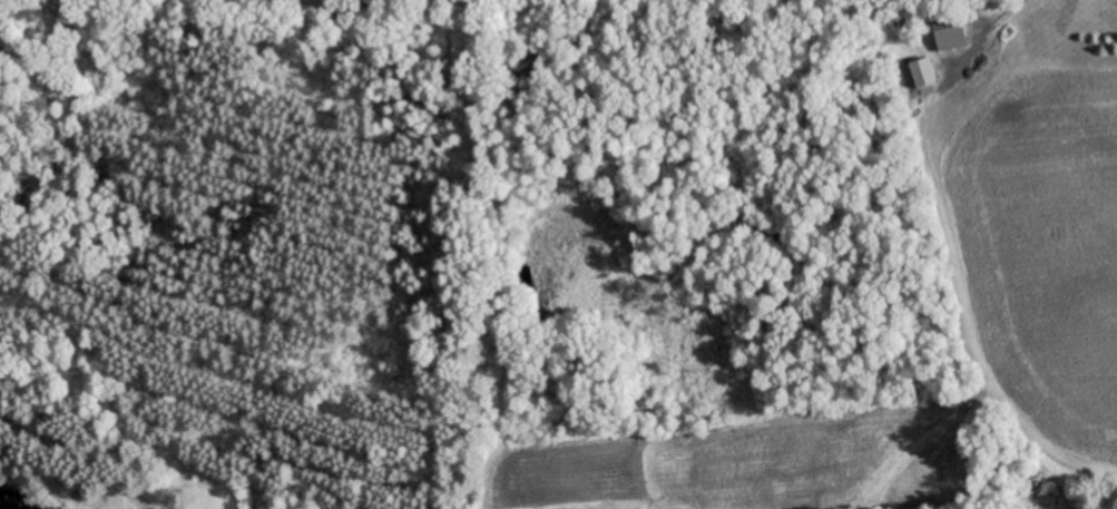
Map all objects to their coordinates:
building: (948, 32)

